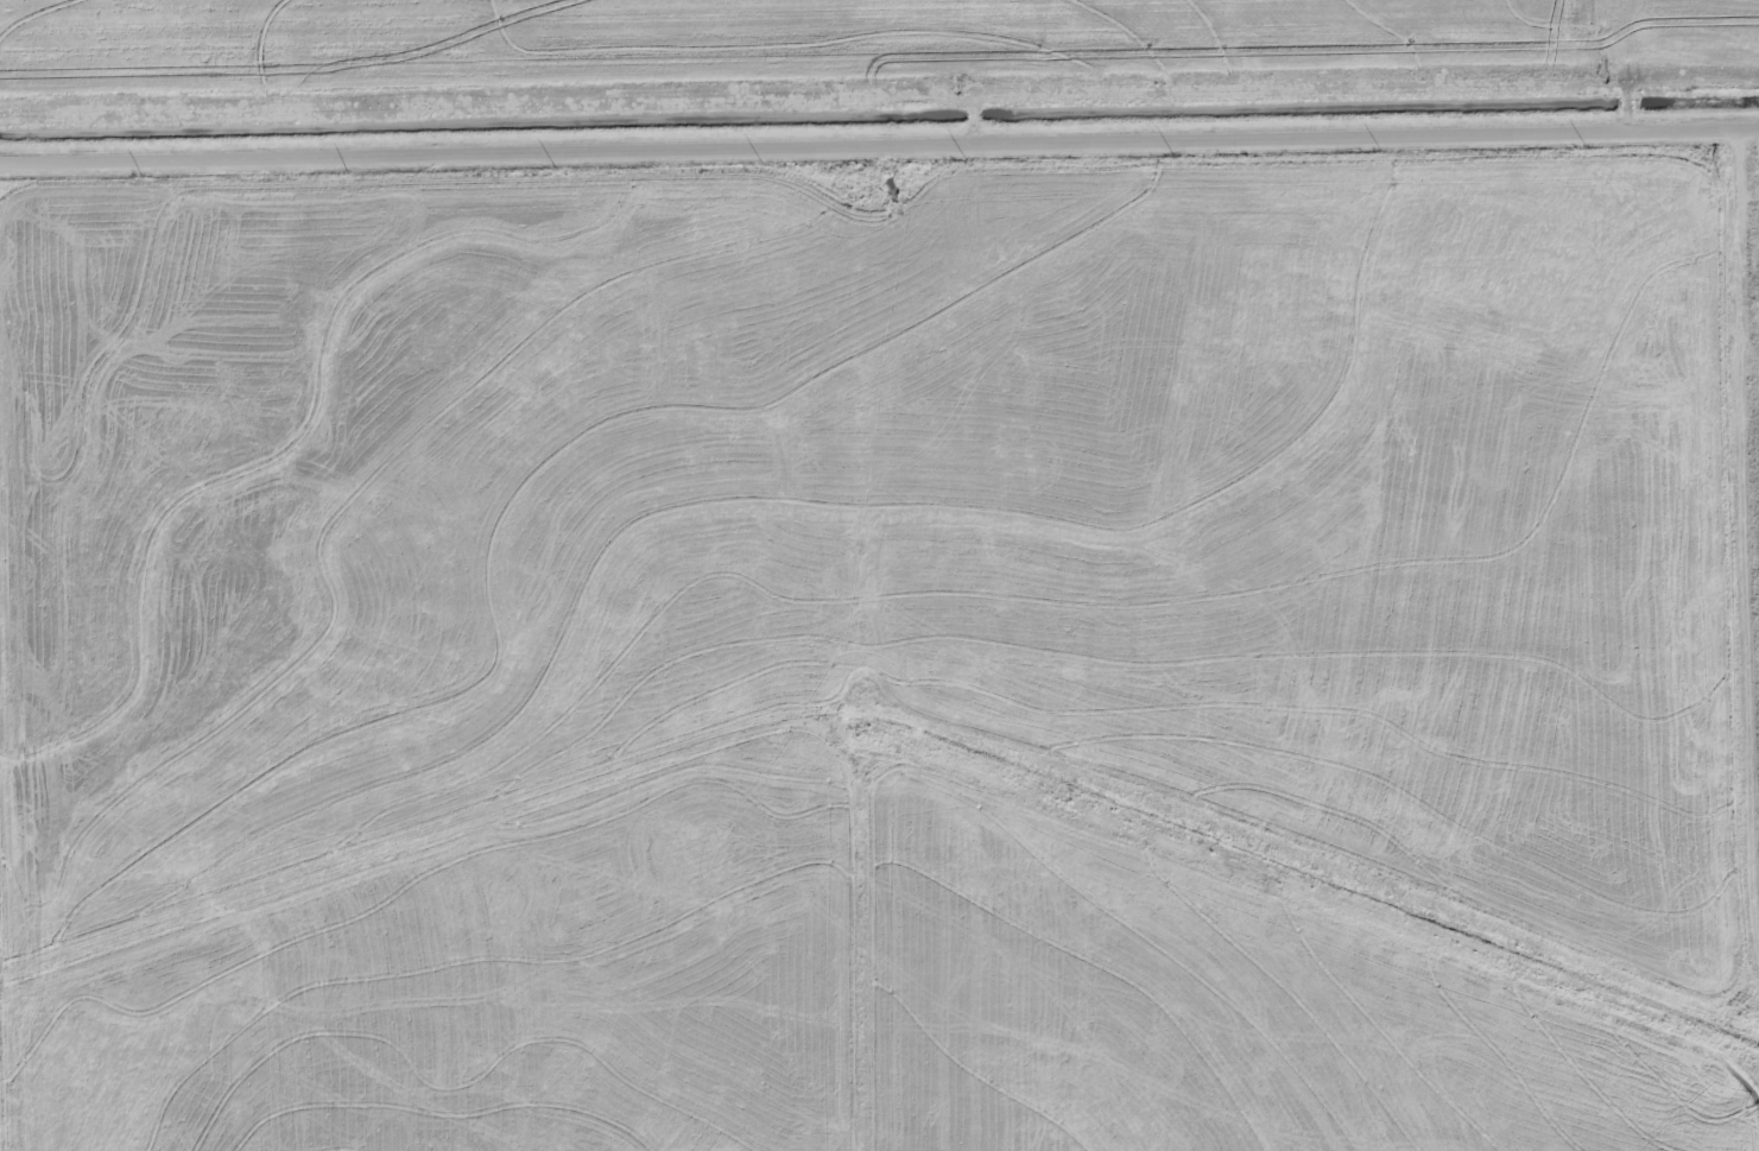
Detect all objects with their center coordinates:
road: (879, 154)

